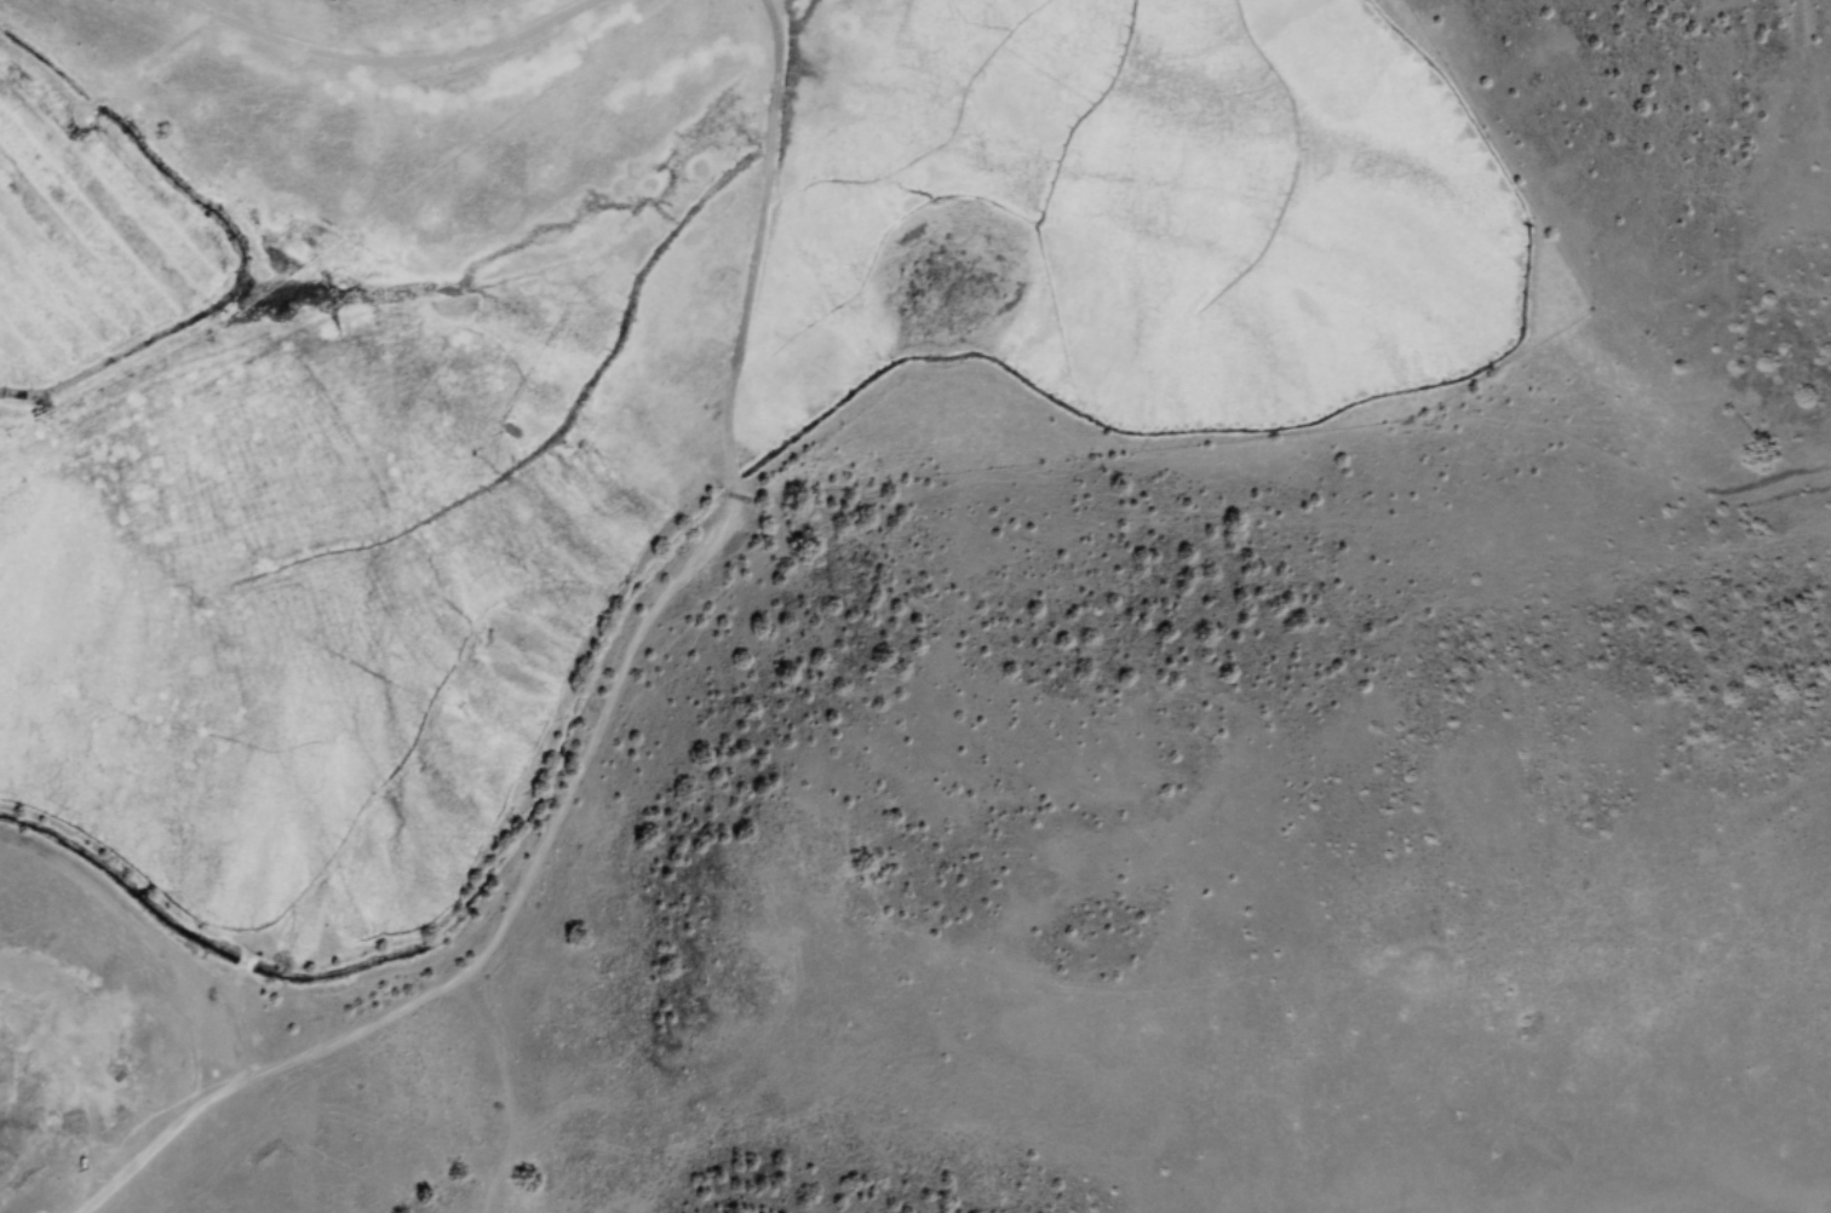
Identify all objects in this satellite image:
road: (601, 709)
road: (506, 1087)

